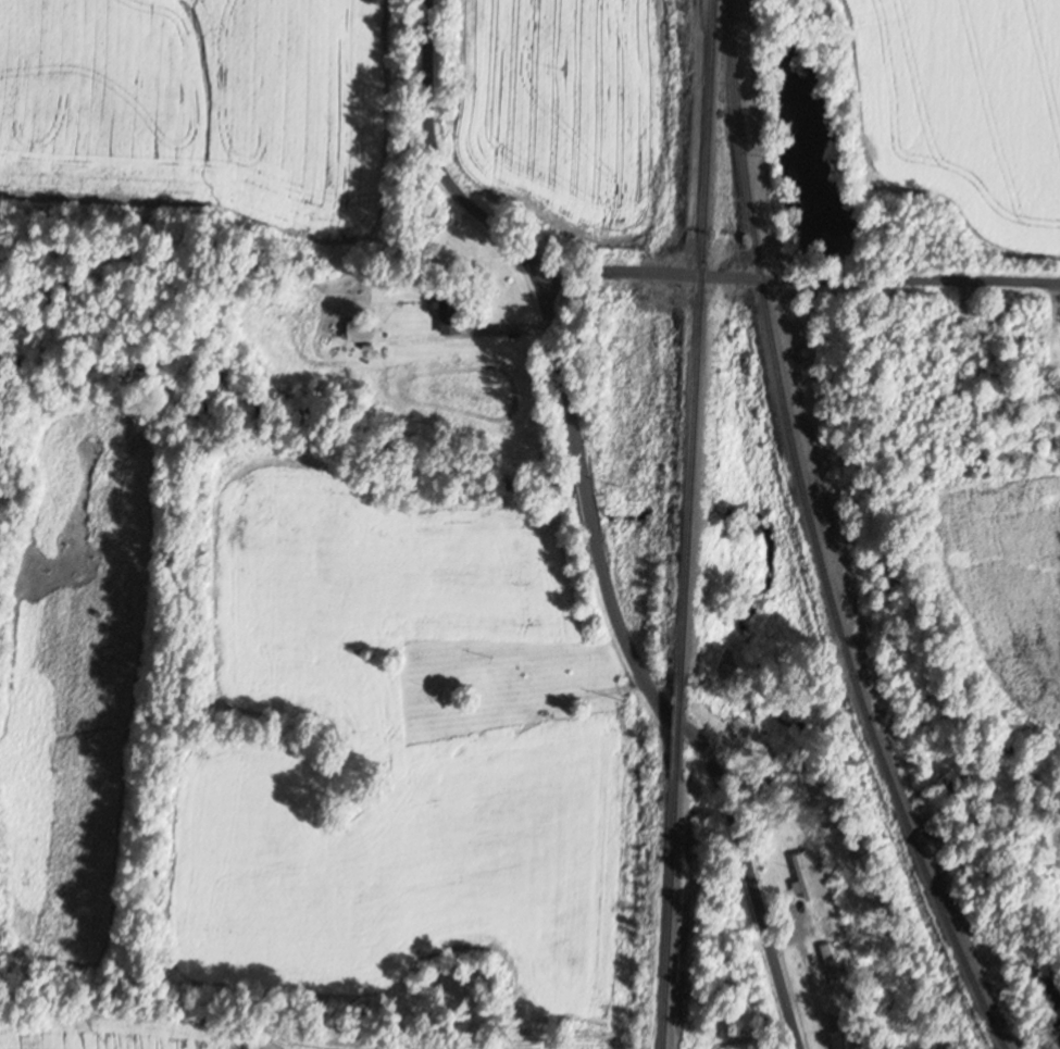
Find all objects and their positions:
road: (919, 277)
building: (454, 310)
building: (362, 330)
railway: (700, 340)
road: (594, 528)
railway: (823, 538)
railway: (682, 724)
building: (809, 875)
railway: (672, 909)
building: (832, 963)
building: (850, 1034)

